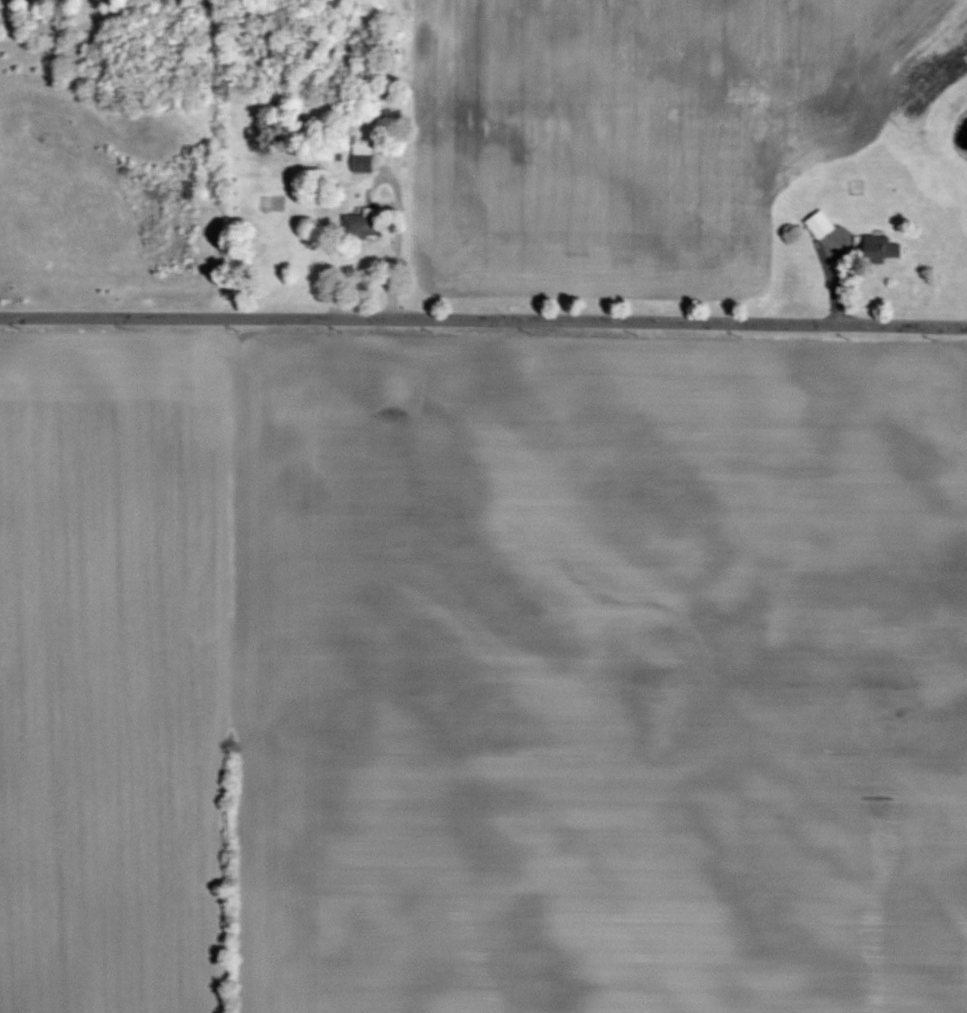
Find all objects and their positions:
road: (67, 26)
building: (362, 156)
building: (362, 224)
building: (817, 224)
building: (877, 249)
road: (483, 321)

